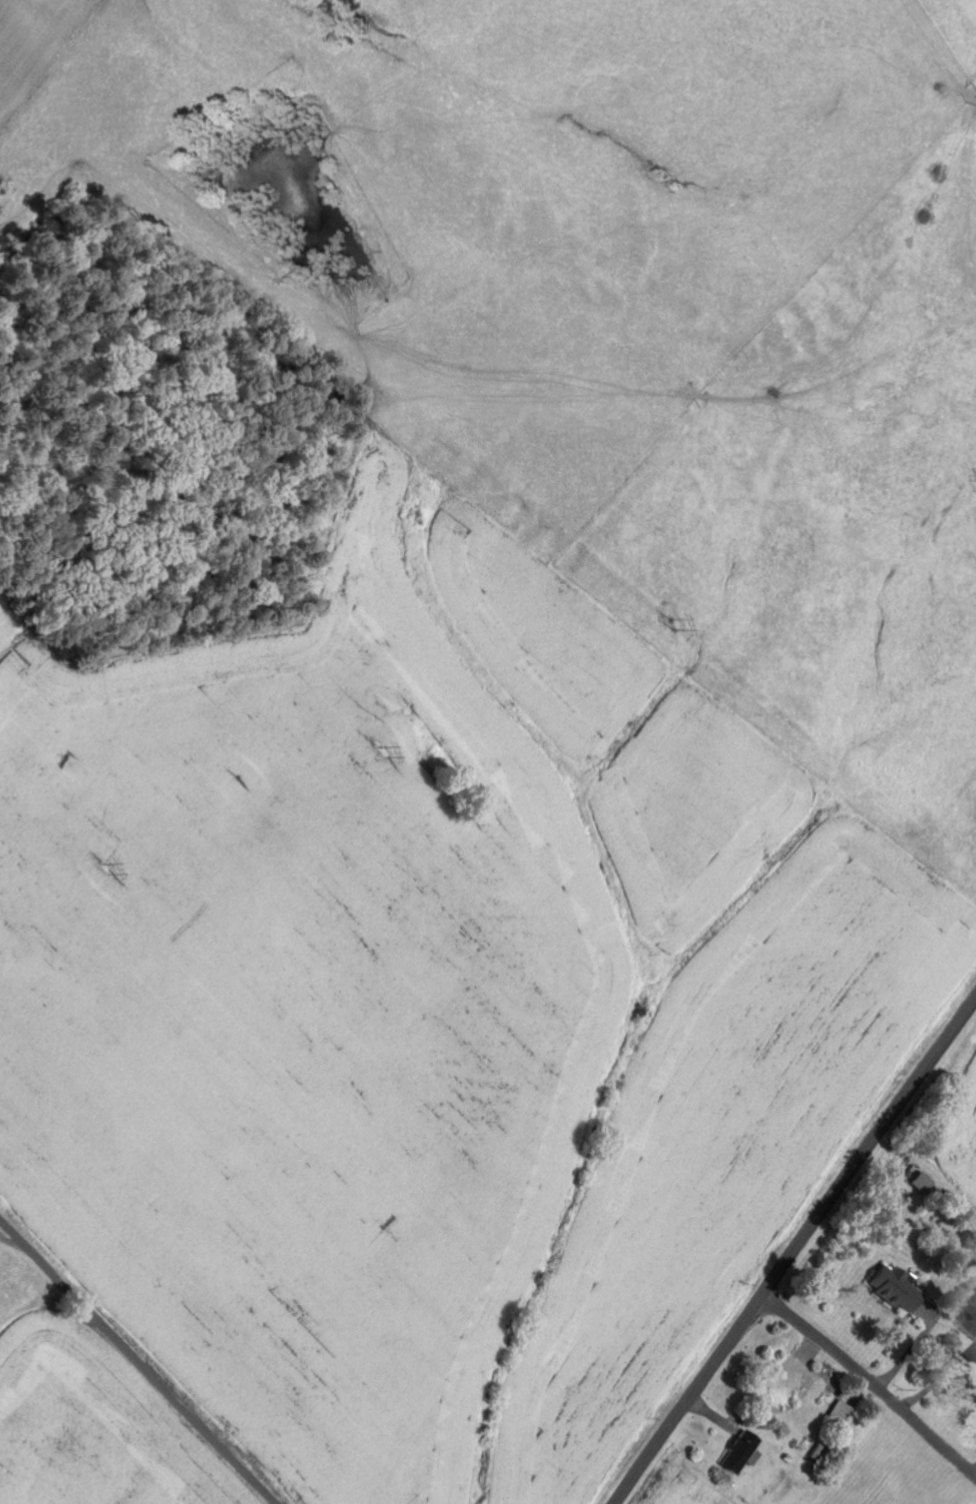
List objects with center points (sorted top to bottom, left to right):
building: (919, 1183)
road: (794, 1248)
building: (896, 1289)
road: (136, 1363)
road: (871, 1383)
building: (843, 1415)

